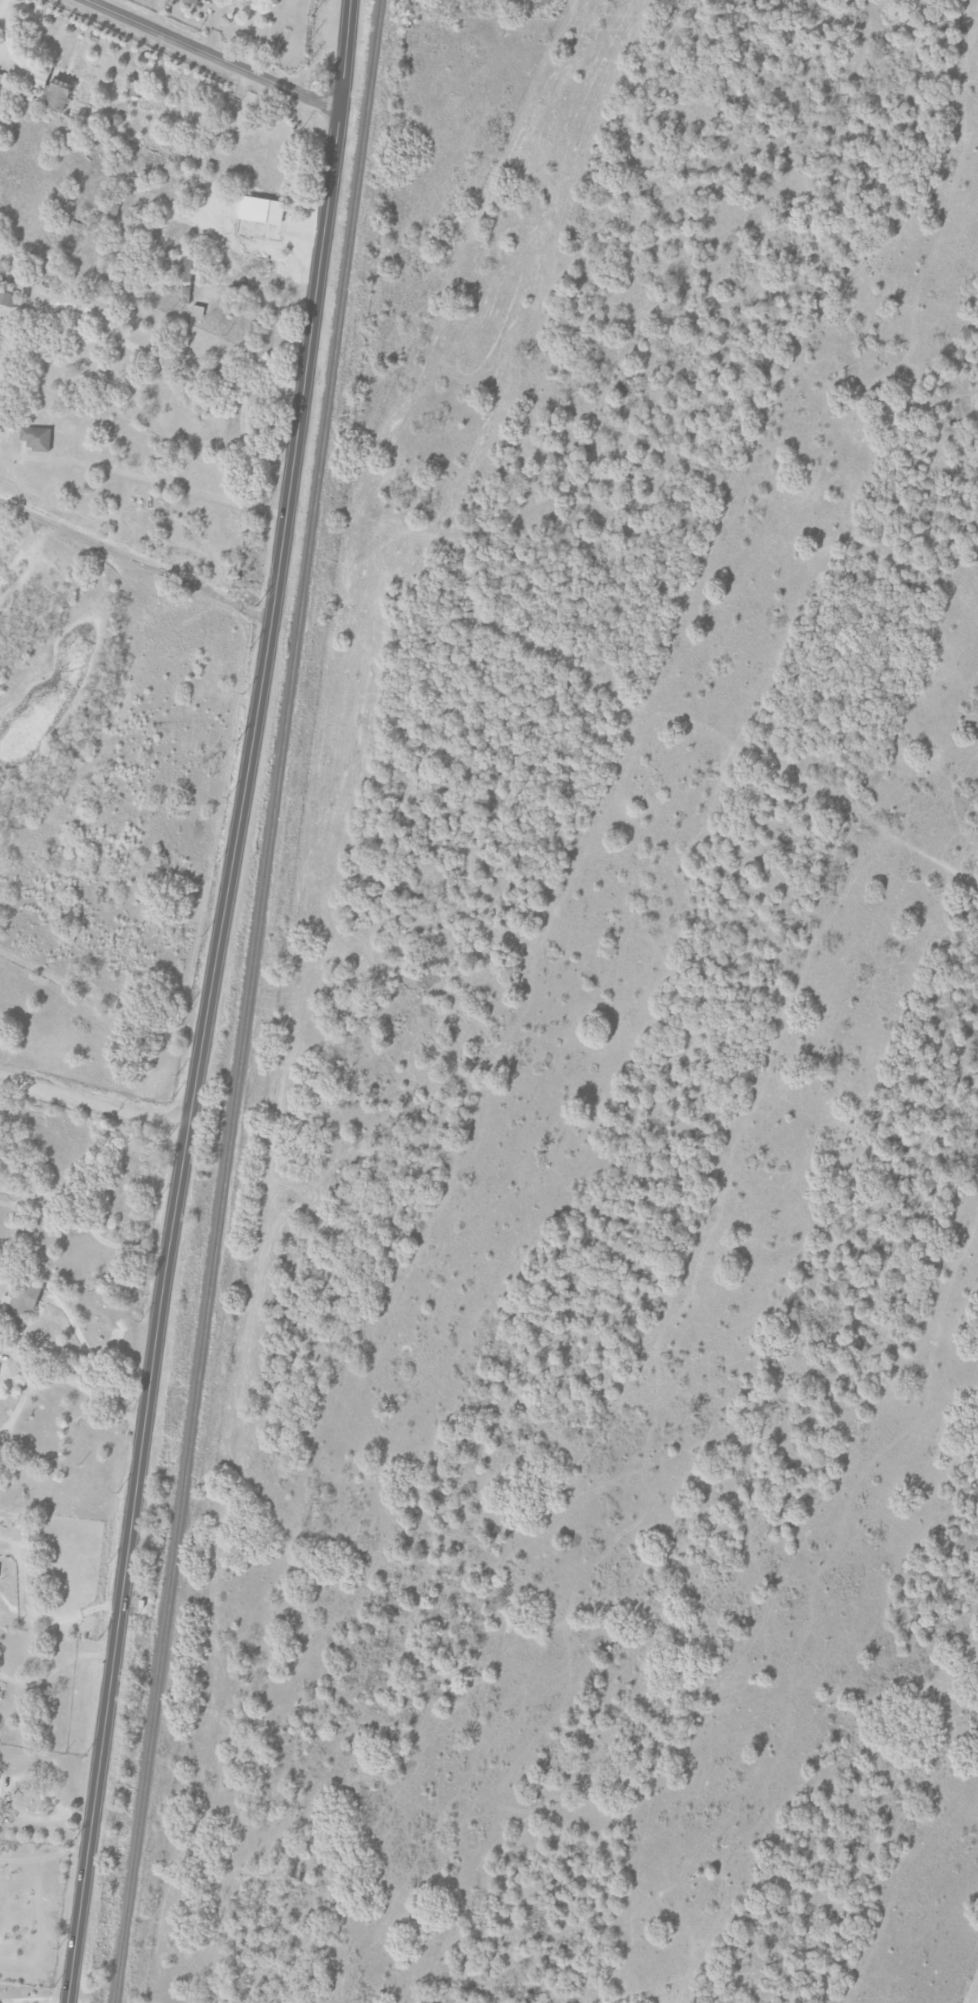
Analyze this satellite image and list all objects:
building: (189, 1)
road: (4, 31)
road: (211, 55)
building: (35, 78)
building: (56, 94)
building: (108, 208)
road: (257, 282)
building: (3, 298)
building: (34, 437)
road: (151, 478)
road: (209, 1001)
railway: (246, 1001)
road: (93, 1109)
road: (26, 1180)
road: (26, 1203)
road: (104, 1241)
building: (24, 1298)
road: (63, 1378)
road: (38, 1618)
road: (54, 1665)
road: (9, 1797)
road: (33, 2000)

